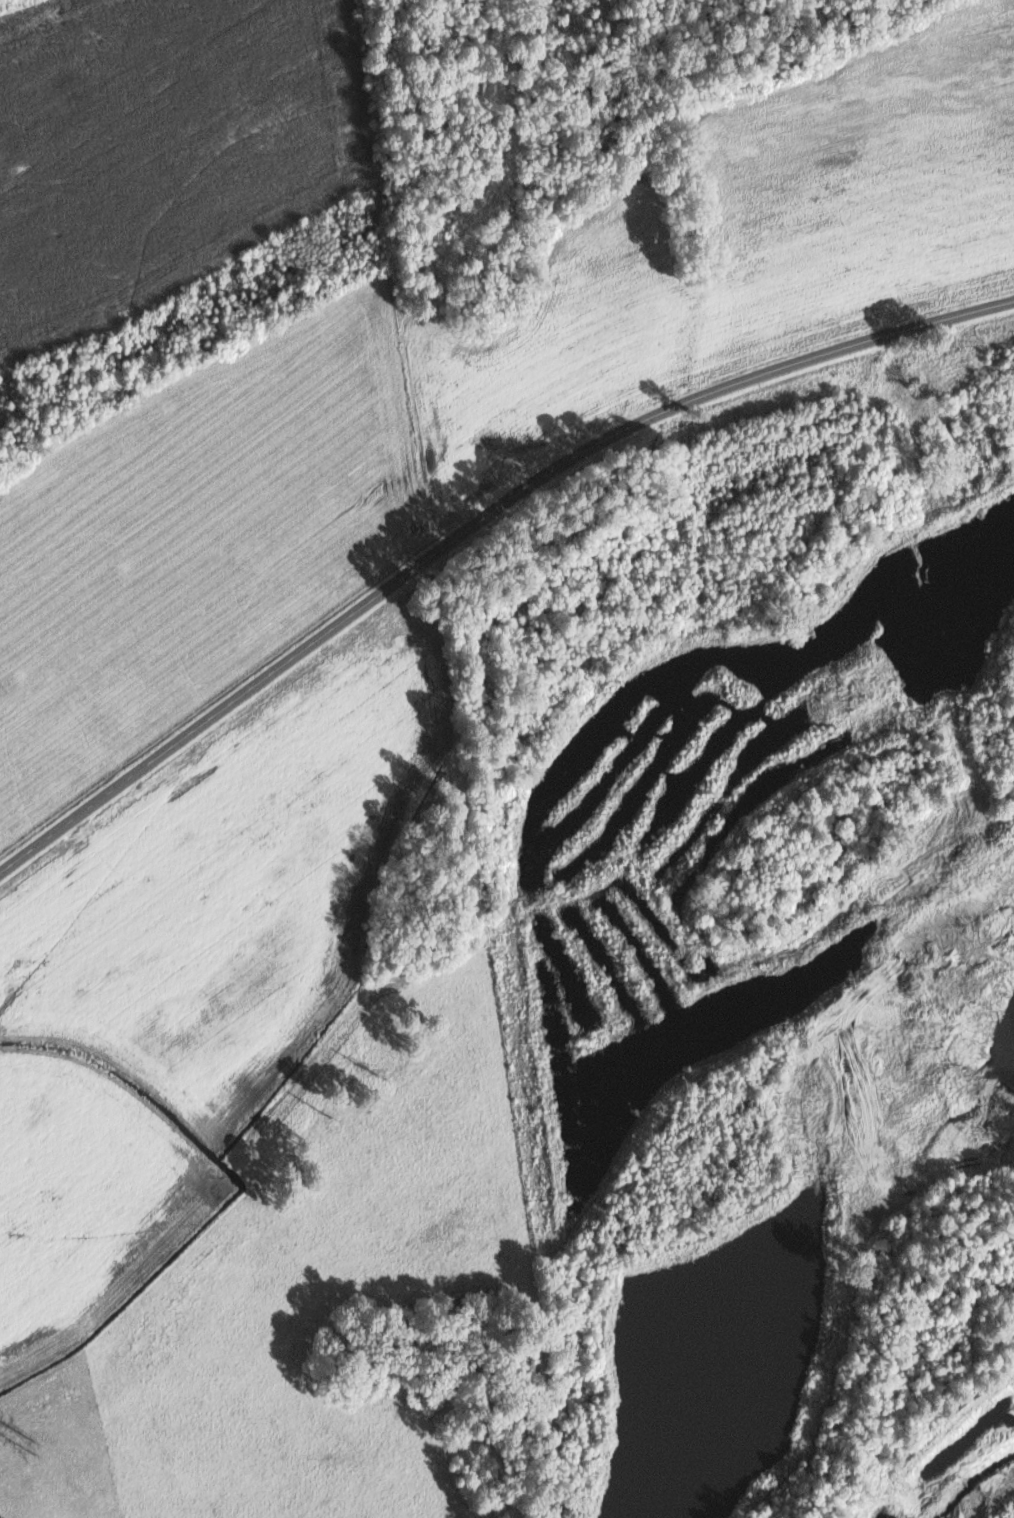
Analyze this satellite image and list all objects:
road: (472, 522)

